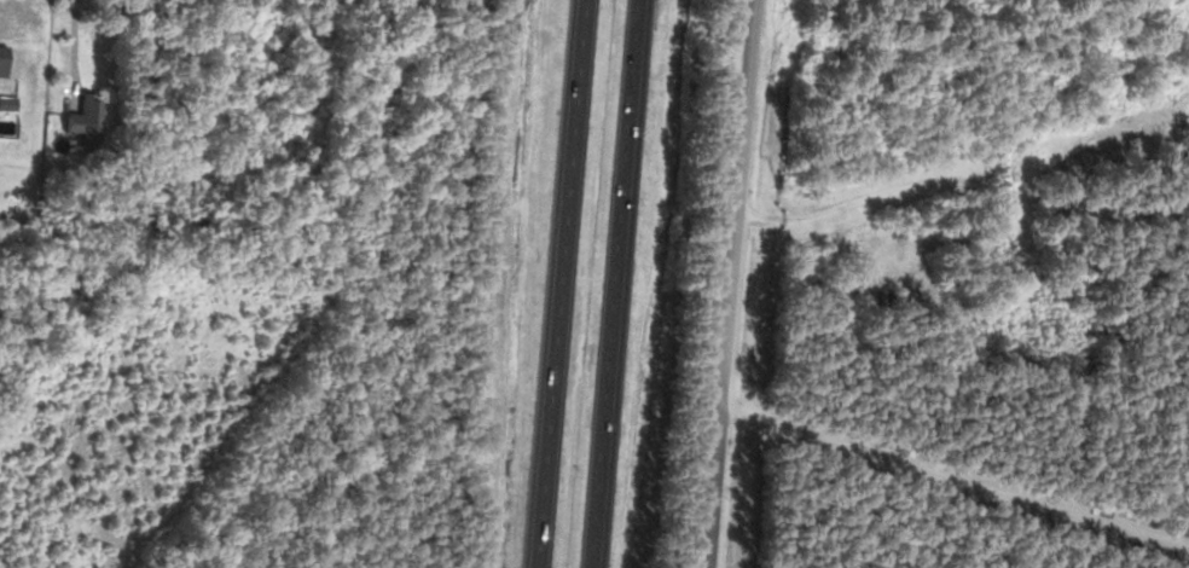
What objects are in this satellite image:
building: (1, 58)
building: (82, 118)
road: (964, 179)
road: (615, 283)
road: (563, 284)
road: (731, 284)
road: (952, 476)

